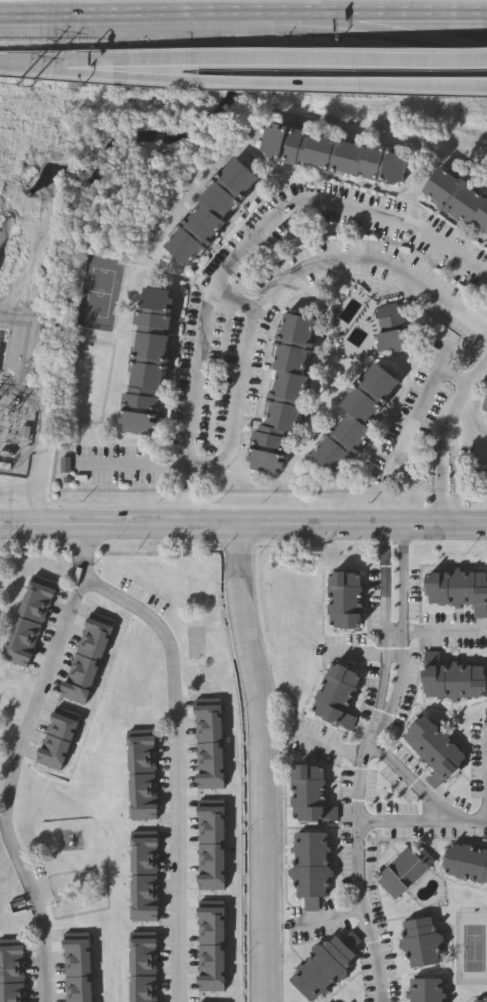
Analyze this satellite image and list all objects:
road: (412, 11)
road: (169, 13)
road: (412, 30)
road: (308, 60)
road: (30, 61)
road: (95, 61)
road: (96, 69)
road: (309, 84)
power tower: (25, 89)
building: (334, 155)
building: (459, 198)
building: (216, 214)
road: (255, 233)
road: (277, 283)
road: (236, 299)
building: (392, 328)
building: (149, 363)
building: (284, 395)
road: (464, 395)
road: (422, 407)
building: (485, 407)
building: (486, 415)
building: (358, 419)
power substation: (16, 436)
road: (443, 442)
road: (455, 442)
road: (132, 467)
road: (183, 479)
road: (441, 488)
road: (457, 488)
road: (182, 507)
road: (243, 525)
road: (80, 545)
building: (42, 584)
building: (458, 589)
building: (37, 598)
building: (342, 599)
building: (32, 612)
building: (26, 626)
building: (98, 626)
road: (434, 632)
road: (385, 635)
building: (93, 639)
road: (404, 639)
building: (22, 641)
building: (88, 653)
road: (357, 654)
building: (17, 655)
building: (83, 665)
building: (79, 679)
building: (454, 680)
building: (74, 692)
building: (335, 694)
building: (208, 704)
building: (66, 715)
building: (209, 720)
building: (62, 727)
building: (141, 734)
building: (209, 735)
building: (58, 738)
building: (54, 749)
building: (432, 749)
building: (142, 750)
building: (210, 751)
building: (50, 760)
road: (263, 762)
building: (142, 765)
building: (211, 766)
road: (171, 768)
road: (11, 779)
building: (143, 781)
building: (211, 782)
road: (412, 783)
building: (308, 794)
building: (142, 796)
building: (211, 807)
building: (143, 812)
building: (211, 822)
road: (422, 824)
building: (144, 837)
building: (211, 837)
building: (144, 852)
building: (211, 852)
building: (465, 862)
building: (144, 867)
building: (308, 867)
building: (211, 868)
building: (402, 869)
road: (359, 873)
building: (144, 883)
building: (211, 883)
building: (144, 898)
building: (211, 906)
building: (144, 913)
road: (332, 917)
building: (211, 921)
building: (211, 936)
building: (143, 938)
building: (76, 939)
building: (419, 942)
building: (12, 944)
building: (211, 952)
building: (77, 954)
building: (143, 954)
building: (12, 959)
building: (324, 966)
building: (211, 967)
building: (143, 969)
building: (77, 970)
building: (12, 975)
building: (211, 982)
building: (143, 984)
building: (78, 985)
building: (423, 989)
building: (12, 990)
building: (79, 997)
building: (143, 997)
building: (13, 1000)
building: (485, 1000)

